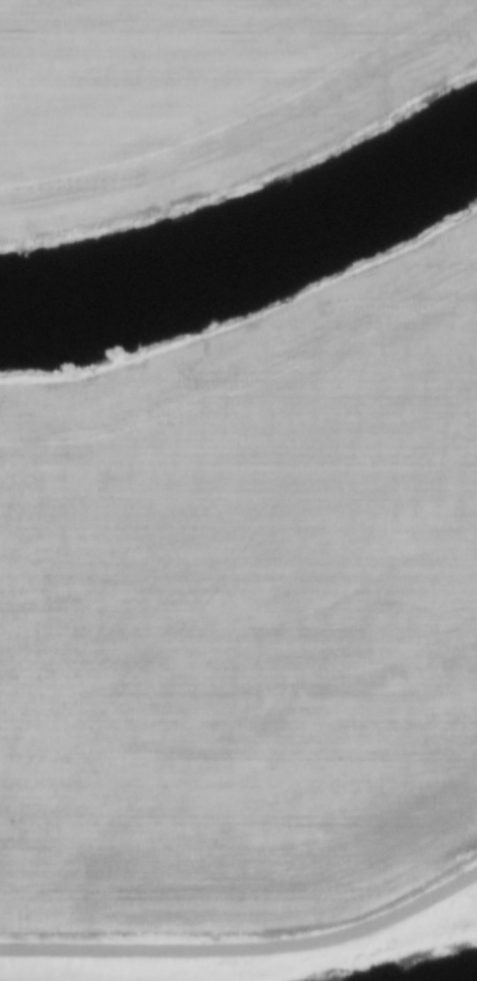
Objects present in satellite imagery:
river: (248, 263)
road: (246, 951)

